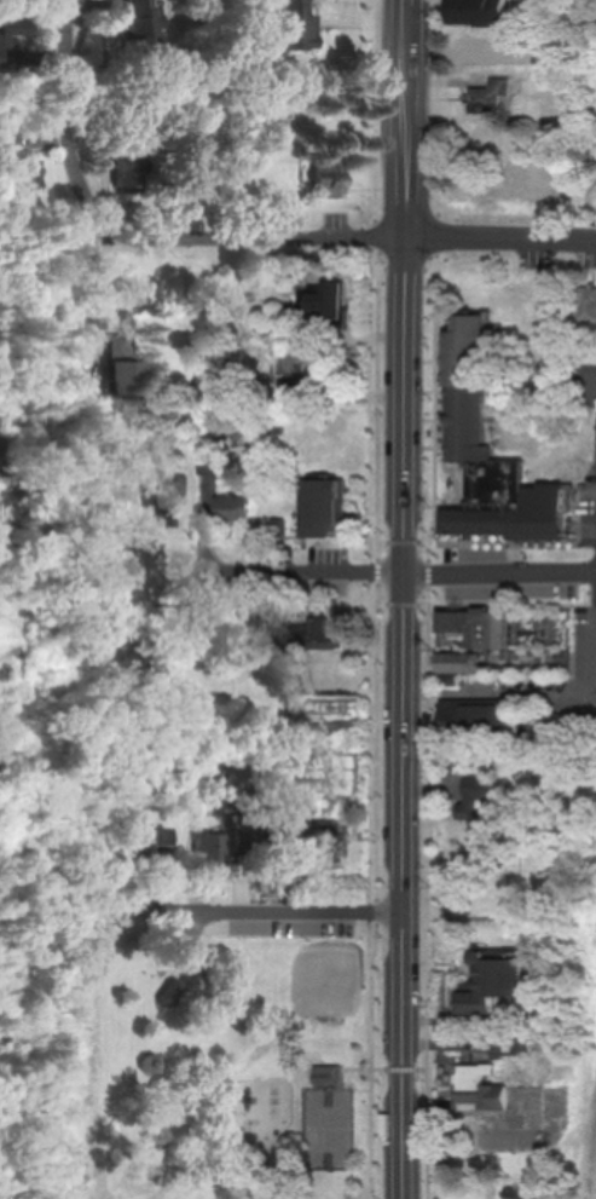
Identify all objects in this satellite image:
building: (479, 11)
building: (293, 24)
building: (140, 25)
building: (13, 28)
building: (465, 57)
building: (490, 97)
road: (69, 134)
building: (23, 160)
building: (128, 178)
building: (329, 178)
road: (369, 236)
road: (409, 269)
building: (328, 302)
building: (588, 305)
building: (121, 364)
building: (491, 460)
building: (207, 463)
building: (232, 507)
building: (324, 507)
road: (445, 542)
road: (403, 572)
road: (430, 598)
road: (380, 599)
road: (404, 599)
road: (487, 603)
building: (326, 634)
building: (490, 646)
road: (499, 693)
building: (478, 717)
building: (482, 807)
building: (309, 836)
building: (138, 841)
building: (208, 852)
road: (280, 911)
building: (498, 980)
building: (499, 1045)
park: (244, 1066)
road: (400, 1068)
building: (326, 1071)
building: (480, 1090)

